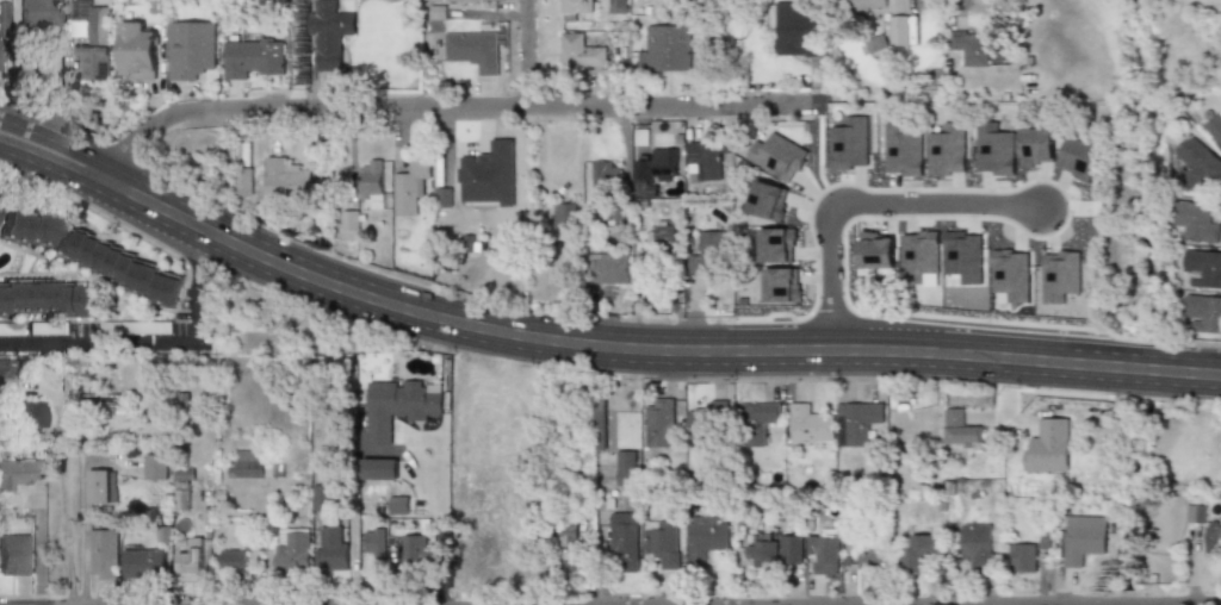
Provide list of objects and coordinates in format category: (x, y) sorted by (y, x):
road: (955, 5)
building: (616, 6)
building: (863, 6)
building: (574, 8)
building: (42, 17)
building: (799, 29)
building: (901, 30)
building: (330, 35)
building: (89, 37)
building: (968, 46)
building: (190, 49)
building: (471, 50)
building: (664, 50)
building: (135, 51)
road: (523, 51)
building: (579, 51)
building: (254, 58)
road: (455, 105)
building: (1214, 129)
building: (1035, 143)
building: (848, 144)
building: (944, 148)
building: (901, 150)
building: (992, 150)
building: (1079, 155)
building: (776, 156)
building: (705, 160)
building: (1200, 161)
building: (652, 170)
building: (486, 175)
building: (603, 179)
building: (242, 181)
building: (286, 181)
building: (371, 183)
building: (410, 187)
building: (763, 200)
road: (850, 207)
building: (563, 214)
building: (1195, 220)
building: (351, 225)
building: (711, 245)
building: (771, 245)
building: (652, 251)
building: (875, 251)
building: (86, 252)
building: (918, 252)
building: (962, 256)
building: (1203, 267)
building: (605, 268)
building: (1009, 274)
building: (1059, 275)
building: (777, 285)
building: (48, 298)
building: (1203, 312)
building: (147, 328)
building: (47, 329)
road: (590, 330)
road: (142, 341)
road: (590, 356)
building: (399, 406)
building: (20, 417)
building: (707, 422)
building: (756, 422)
building: (855, 422)
building: (657, 424)
building: (808, 424)
building: (959, 429)
building: (1047, 447)
building: (249, 464)
building: (154, 467)
building: (624, 468)
building: (379, 469)
building: (19, 472)
building: (98, 486)
building: (321, 497)
road: (63, 499)
building: (397, 505)
building: (1194, 513)
road: (441, 522)
road: (85, 530)
building: (621, 534)
building: (1090, 537)
building: (1213, 537)
building: (705, 538)
building: (374, 542)
building: (661, 542)
building: (974, 547)
road: (38, 549)
building: (331, 549)
building: (791, 549)
building: (916, 549)
building: (292, 551)
building: (563, 551)
building: (762, 551)
building: (104, 553)
building: (419, 553)
building: (864, 553)
building: (12, 555)
building: (823, 555)
building: (1021, 557)
building: (233, 560)
building: (192, 562)
building: (144, 563)
road: (72, 592)
road: (979, 604)
road: (1090, 604)

